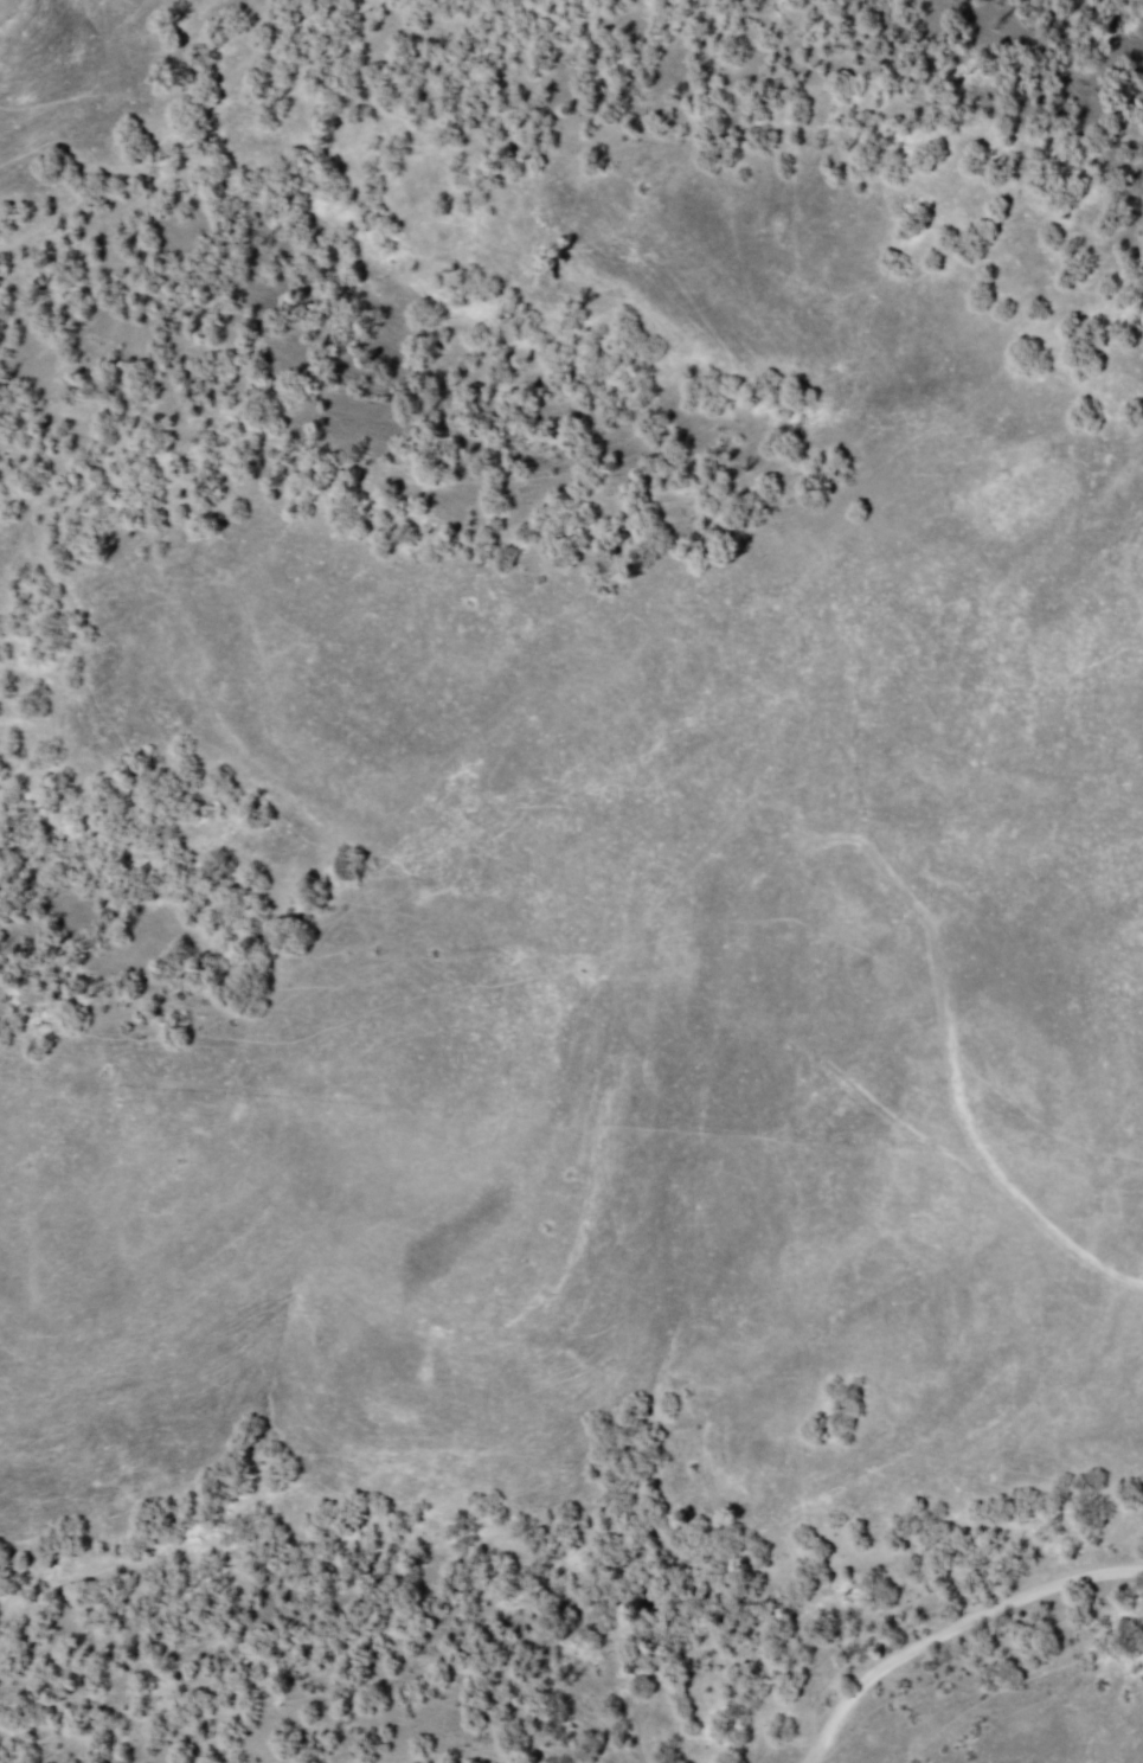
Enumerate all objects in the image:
road: (957, 1631)

